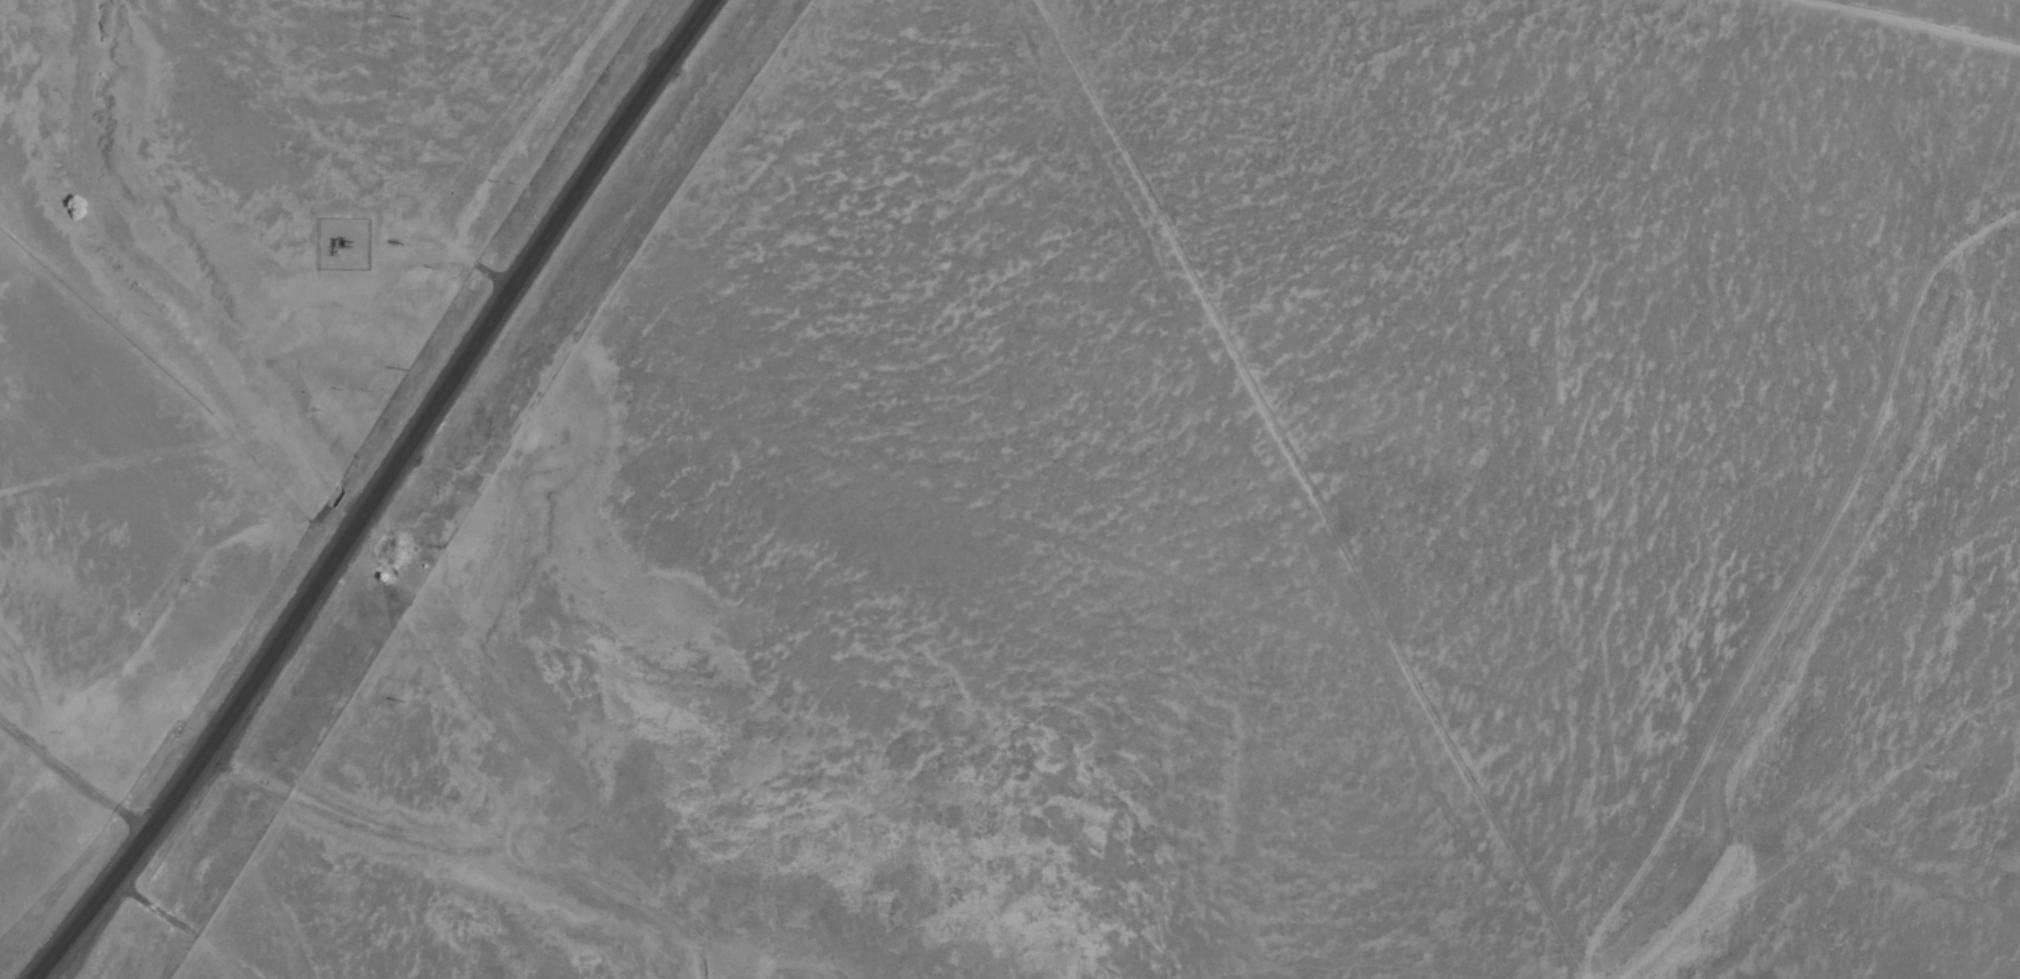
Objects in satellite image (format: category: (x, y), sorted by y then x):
road: (1913, 24)
road: (378, 493)
road: (11, 742)
road: (65, 774)
road: (170, 921)

